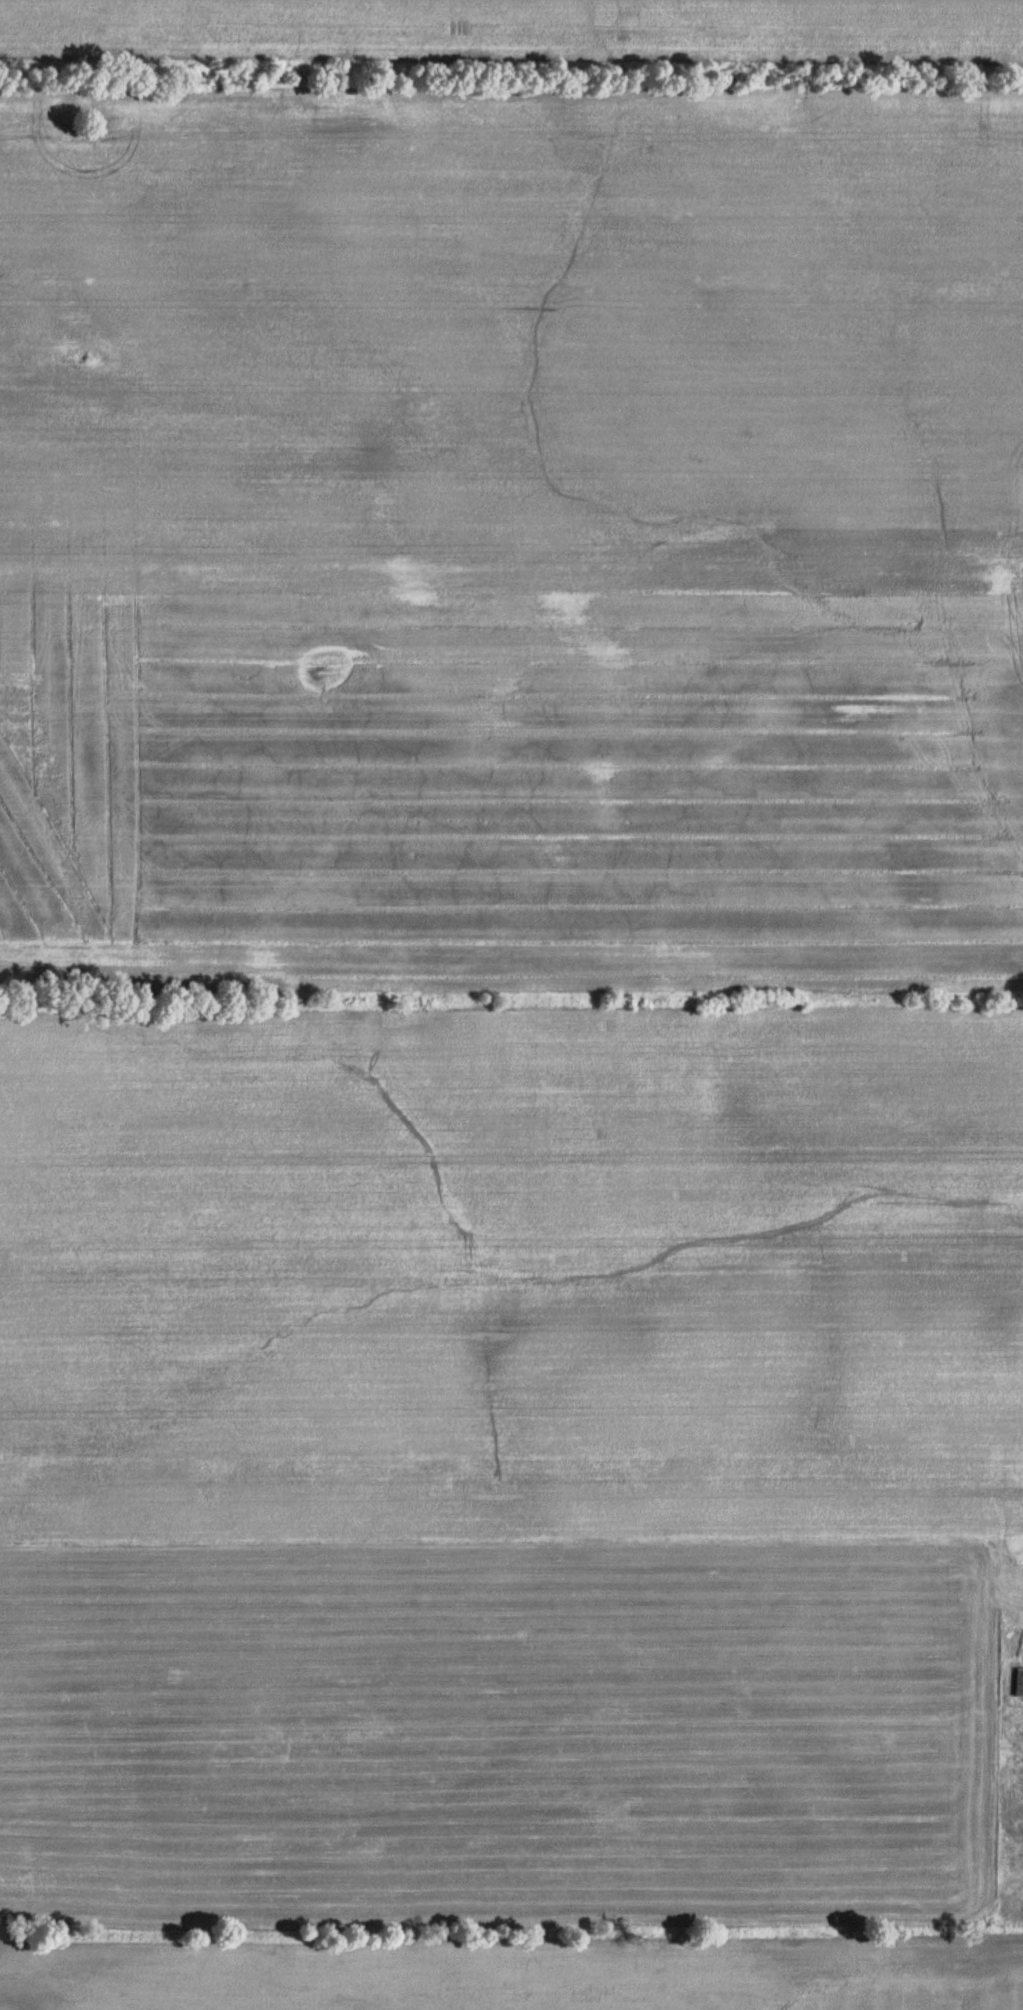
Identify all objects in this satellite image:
building: (1020, 1682)

